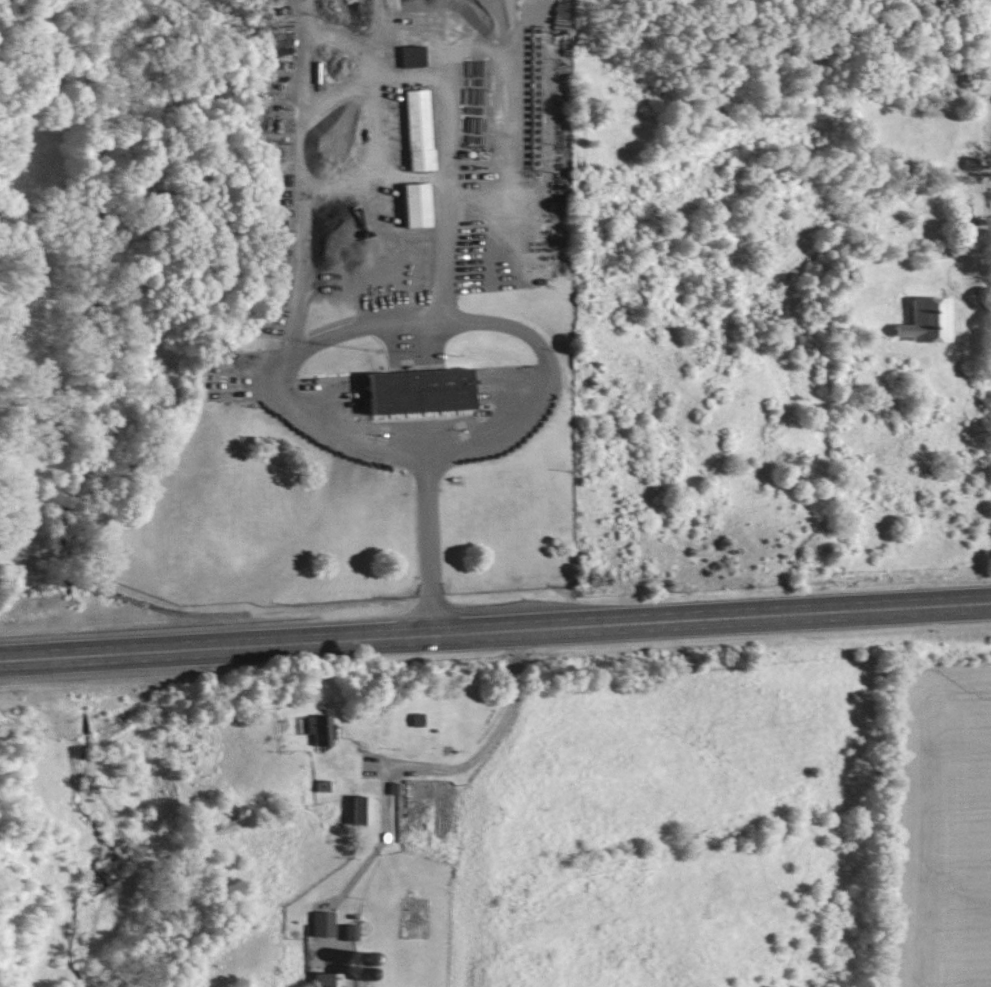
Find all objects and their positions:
building: (408, 56)
road: (373, 82)
building: (415, 130)
building: (411, 205)
road: (496, 319)
building: (923, 322)
building: (414, 391)
road: (495, 631)
building: (316, 728)
road: (483, 741)
building: (391, 788)
building: (358, 810)
building: (319, 923)
building: (347, 932)
building: (325, 979)

